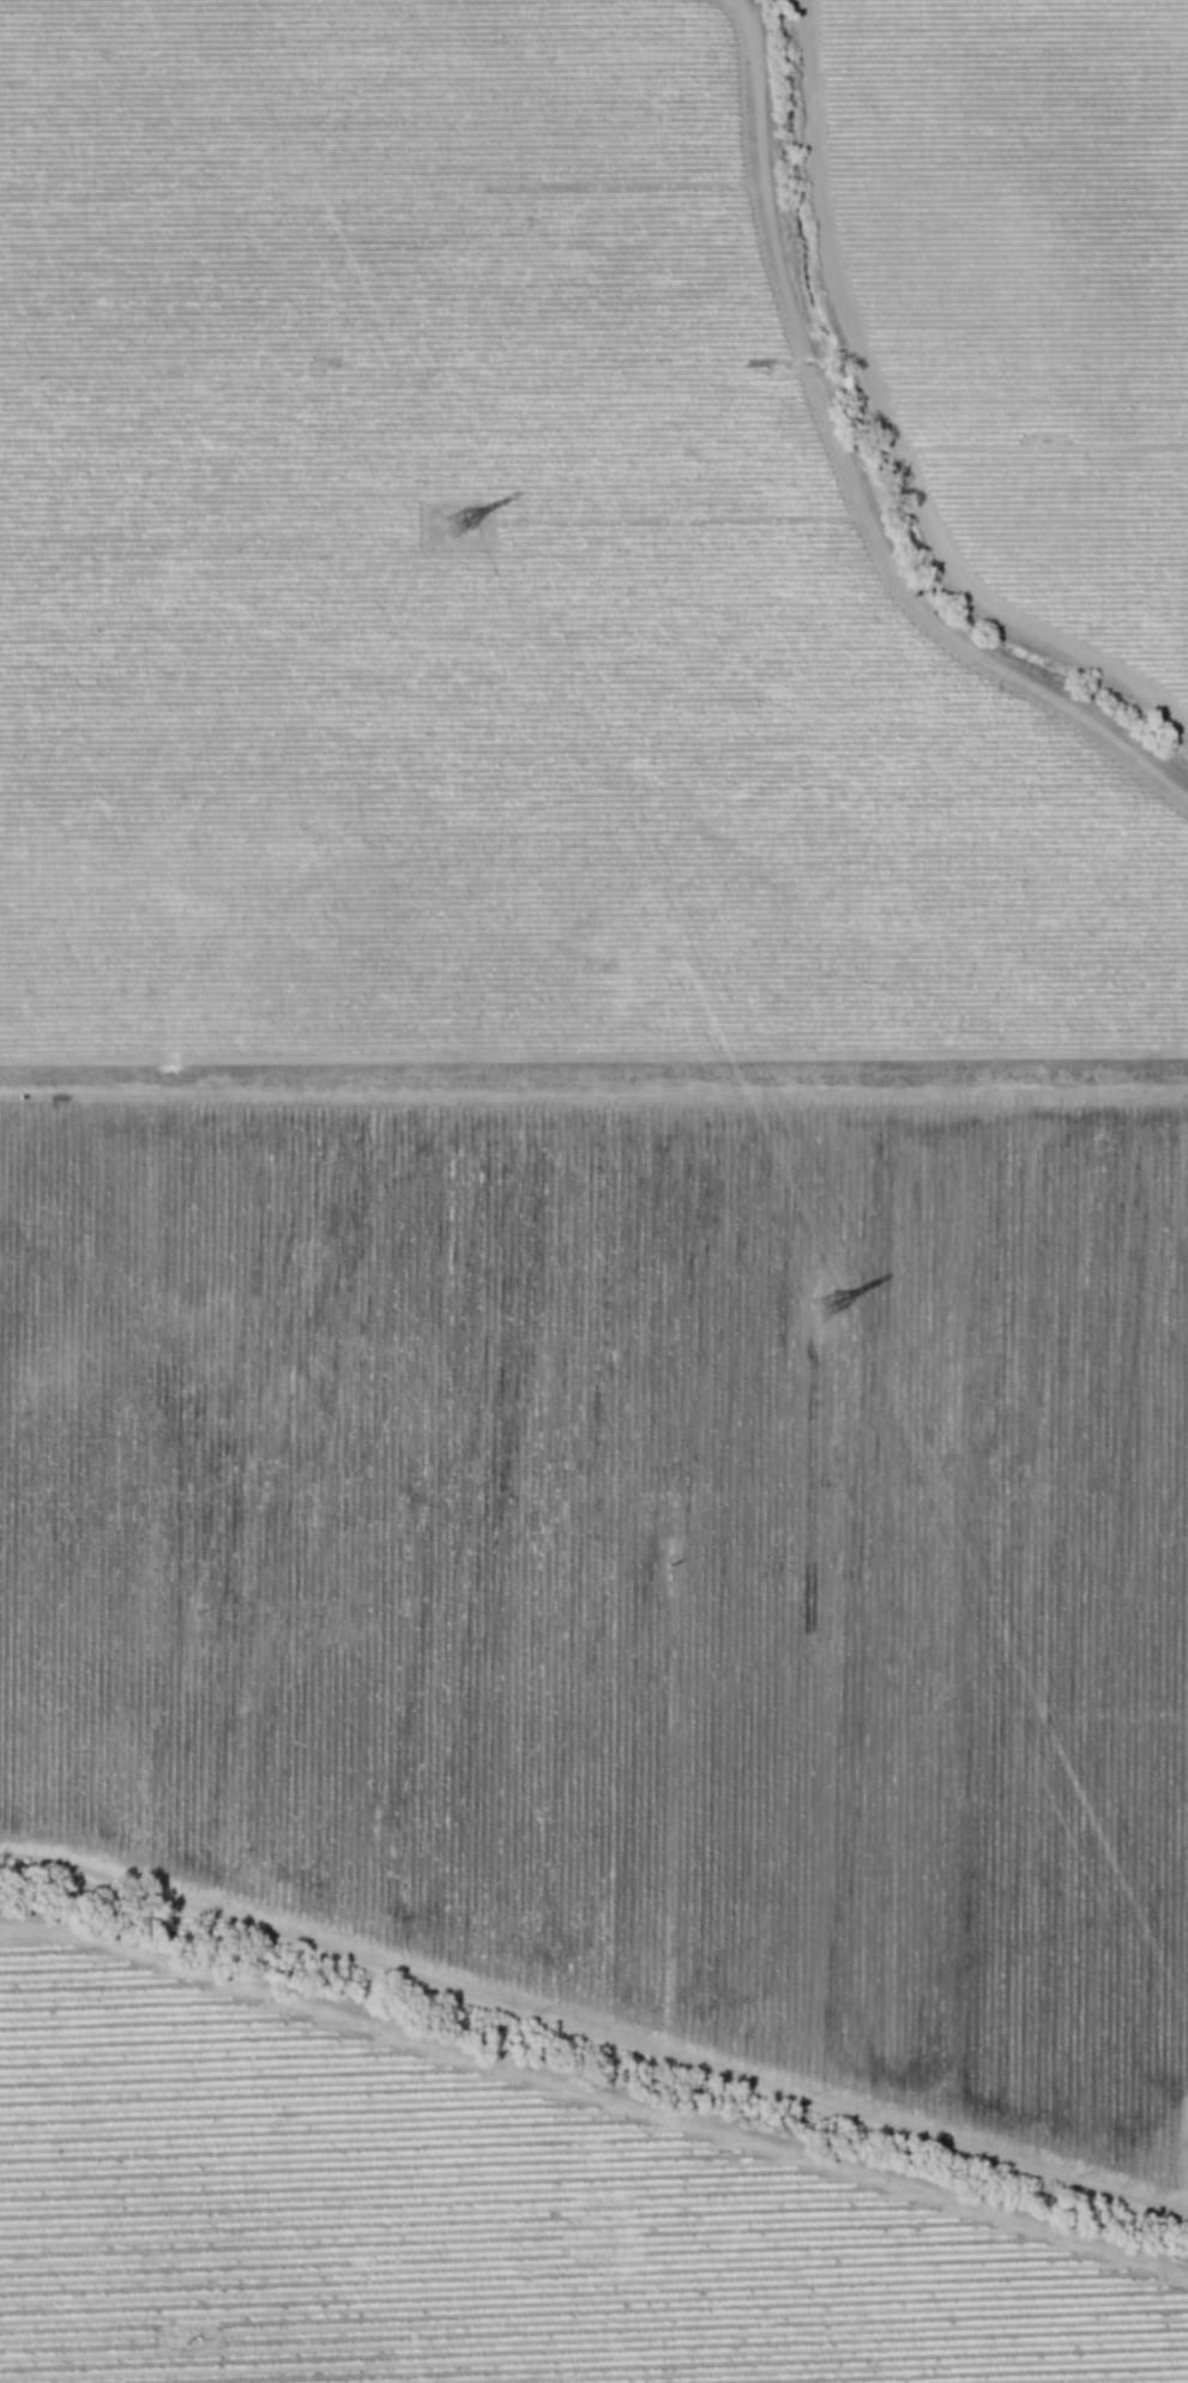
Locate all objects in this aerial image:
power tower: (434, 488)
power tower: (804, 1292)
road: (593, 2039)

